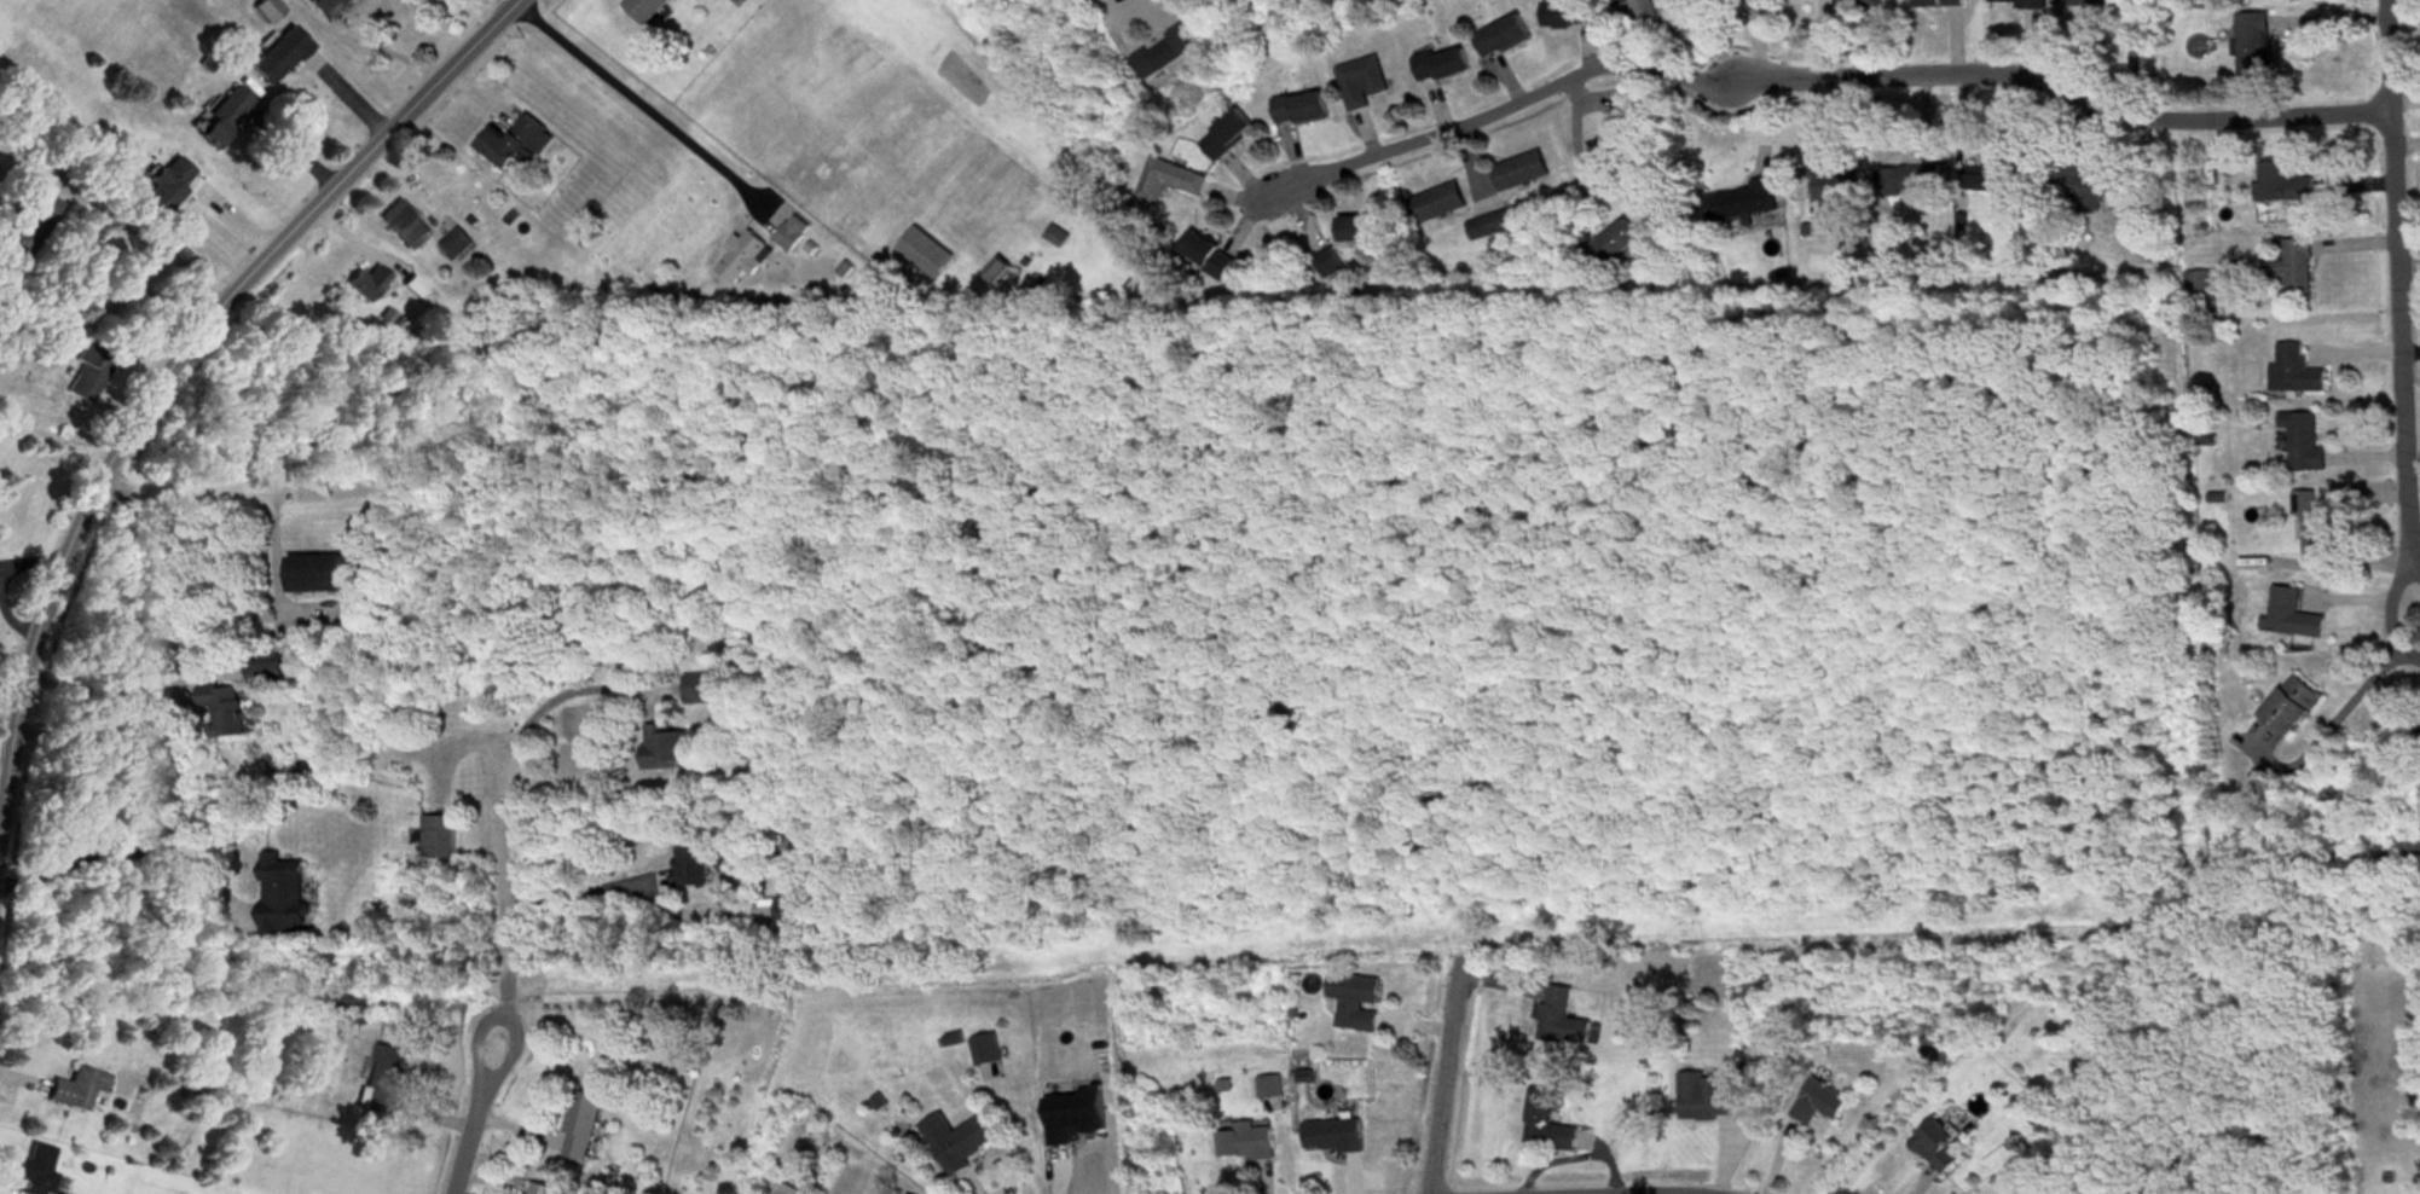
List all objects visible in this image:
building: (2020, 1)
building: (1943, 4)
road: (500, 5)
building: (1860, 5)
building: (2107, 5)
building: (331, 8)
building: (647, 10)
building: (266, 11)
building: (1570, 15)
building: (1645, 17)
building: (1504, 37)
building: (2254, 53)
building: (1166, 56)
building: (278, 58)
building: (1443, 65)
road: (1797, 74)
building: (1362, 83)
road: (647, 104)
building: (1301, 110)
building: (222, 118)
building: (1620, 132)
building: (1228, 137)
building: (517, 146)
building: (1992, 170)
building: (1522, 173)
building: (1170, 182)
building: (1914, 184)
building: (1837, 186)
building: (164, 187)
building: (2283, 187)
building: (2092, 192)
building: (1443, 203)
building: (1744, 203)
building: (30, 221)
building: (405, 226)
building: (789, 228)
building: (1357, 231)
building: (1059, 238)
building: (457, 247)
building: (1615, 247)
building: (926, 255)
building: (746, 259)
building: (1331, 266)
building: (2298, 269)
building: (998, 272)
road: (2395, 280)
building: (370, 285)
building: (2202, 289)
building: (421, 291)
road: (173, 365)
building: (88, 372)
building: (2297, 372)
building: (2306, 444)
road: (372, 483)
building: (2315, 526)
road: (282, 556)
building: (315, 575)
building: (2294, 618)
building: (295, 624)
building: (268, 672)
building: (702, 690)
road: (584, 692)
building: (2293, 708)
building: (222, 713)
road: (178, 719)
building: (2418, 741)
building: (666, 748)
building: (440, 837)
road: (122, 848)
building: (694, 868)
road: (632, 880)
road: (504, 894)
building: (283, 895)
building: (797, 910)
building: (1356, 1002)
building: (1563, 1020)
building: (986, 1053)
road: (484, 1063)
road: (1434, 1080)
building: (384, 1082)
building: (77, 1090)
building: (1708, 1099)
building: (1822, 1105)
building: (1547, 1125)
building: (583, 1126)
building: (1335, 1137)
road: (459, 1138)
building: (956, 1142)
building: (1245, 1142)
building: (1939, 1148)
building: (37, 1170)
road: (1920, 1179)
building: (543, 1189)
road: (1655, 1193)

